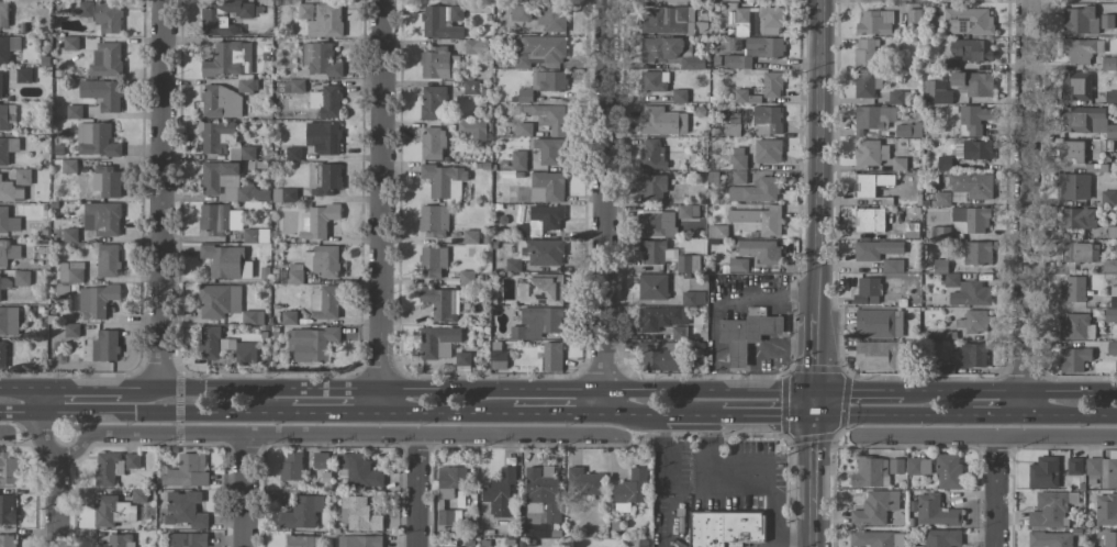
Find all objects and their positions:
building: (86, 8)
building: (521, 12)
building: (3, 13)
building: (916, 15)
building: (108, 16)
building: (223, 16)
building: (552, 18)
building: (322, 19)
building: (667, 20)
building: (770, 20)
building: (443, 21)
building: (741, 21)
building: (969, 21)
building: (1080, 21)
building: (1106, 21)
building: (874, 22)
building: (71, 42)
building: (476, 45)
building: (8, 47)
building: (764, 47)
building: (972, 49)
building: (1081, 49)
building: (539, 51)
building: (670, 53)
building: (865, 53)
building: (107, 59)
building: (230, 59)
building: (321, 60)
building: (737, 62)
building: (438, 63)
building: (1109, 63)
building: (24, 75)
building: (549, 80)
building: (654, 81)
building: (973, 83)
building: (1, 85)
building: (245, 85)
building: (772, 85)
building: (864, 85)
building: (291, 86)
building: (1076, 86)
building: (936, 92)
building: (102, 93)
building: (740, 96)
building: (898, 97)
building: (1110, 97)
building: (326, 101)
building: (222, 102)
building: (433, 102)
building: (74, 111)
building: (7, 116)
building: (550, 118)
building: (872, 118)
building: (973, 119)
building: (767, 120)
building: (662, 121)
building: (1087, 121)
building: (524, 129)
building: (731, 129)
building: (473, 130)
building: (908, 130)
building: (216, 136)
building: (324, 137)
building: (96, 139)
building: (433, 143)
building: (8, 148)
building: (549, 149)
building: (973, 149)
building: (768, 150)
building: (1072, 150)
building: (293, 153)
building: (651, 153)
building: (871, 153)
building: (738, 158)
building: (518, 160)
building: (943, 163)
building: (69, 166)
building: (22, 176)
building: (739, 177)
building: (328, 179)
building: (223, 180)
building: (444, 180)
building: (107, 181)
building: (871, 183)
building: (550, 185)
building: (972, 185)
building: (1074, 186)
building: (654, 188)
building: (756, 190)
building: (10, 191)
road: (161, 193)
building: (284, 194)
road: (381, 194)
building: (537, 194)
road: (816, 196)
building: (942, 198)
building: (1109, 198)
road: (605, 206)
road: (1024, 206)
building: (689, 211)
building: (547, 216)
building: (1077, 217)
building: (102, 219)
building: (219, 219)
building: (760, 219)
building: (434, 220)
building: (870, 220)
building: (970, 220)
building: (9, 221)
building: (319, 221)
building: (658, 223)
building: (535, 227)
building: (717, 231)
building: (70, 234)
building: (256, 235)
building: (471, 236)
building: (875, 249)
building: (760, 250)
building: (3, 252)
building: (544, 252)
building: (656, 252)
building: (1081, 252)
building: (978, 253)
building: (108, 260)
building: (323, 260)
building: (226, 261)
building: (433, 261)
building: (689, 263)
building: (513, 265)
building: (738, 265)
building: (892, 265)
building: (71, 271)
building: (294, 275)
building: (22, 277)
building: (467, 277)
building: (5, 283)
building: (652, 286)
building: (1073, 289)
building: (541, 290)
building: (868, 291)
building: (968, 291)
building: (1113, 295)
building: (693, 298)
building: (219, 300)
building: (97, 301)
building: (324, 302)
building: (442, 303)
building: (1110, 314)
building: (253, 316)
building: (289, 317)
building: (9, 321)
building: (663, 321)
building: (976, 321)
building: (538, 322)
building: (879, 323)
building: (1076, 326)
building: (71, 330)
building: (747, 335)
building: (438, 342)
building: (311, 343)
building: (105, 346)
building: (225, 346)
building: (2, 354)
building: (973, 355)
building: (552, 356)
building: (660, 356)
building: (880, 356)
building: (499, 359)
building: (1074, 359)
road: (20, 387)
road: (80, 387)
road: (250, 388)
road: (597, 389)
road: (1009, 390)
traffic signals: (815, 391)
road: (859, 391)
road: (380, 401)
road: (815, 403)
road: (145, 411)
road: (335, 413)
road: (446, 413)
road: (558, 414)
road: (635, 414)
road: (690, 414)
road: (997, 414)
road: (1070, 414)
road: (764, 415)
traffic signals: (815, 415)
road: (893, 415)
road: (3, 433)
road: (327, 435)
road: (986, 436)
building: (132, 460)
building: (321, 460)
road: (55, 462)
road: (666, 466)
building: (896, 466)
building: (918, 466)
building: (1074, 466)
building: (291, 467)
building: (108, 468)
building: (8, 469)
building: (1104, 469)
building: (359, 470)
building: (949, 471)
road: (758, 472)
building: (871, 472)
building: (1043, 472)
building: (450, 480)
road: (814, 480)
building: (1093, 480)
building: (584, 482)
building: (632, 490)
road: (245, 491)
road: (416, 491)
road: (997, 491)
building: (500, 492)
building: (541, 498)
building: (875, 507)
building: (8, 509)
building: (185, 509)
building: (1049, 510)
building: (1106, 510)
building: (112, 511)
building: (936, 511)
building: (302, 512)
building: (360, 514)
building: (449, 516)
building: (726, 528)
road: (668, 532)
building: (876, 538)
building: (941, 538)
building: (1109, 538)
building: (189, 539)
building: (1050, 539)
building: (121, 540)
building: (302, 540)
building: (360, 540)
building: (8, 542)
building: (453, 546)

